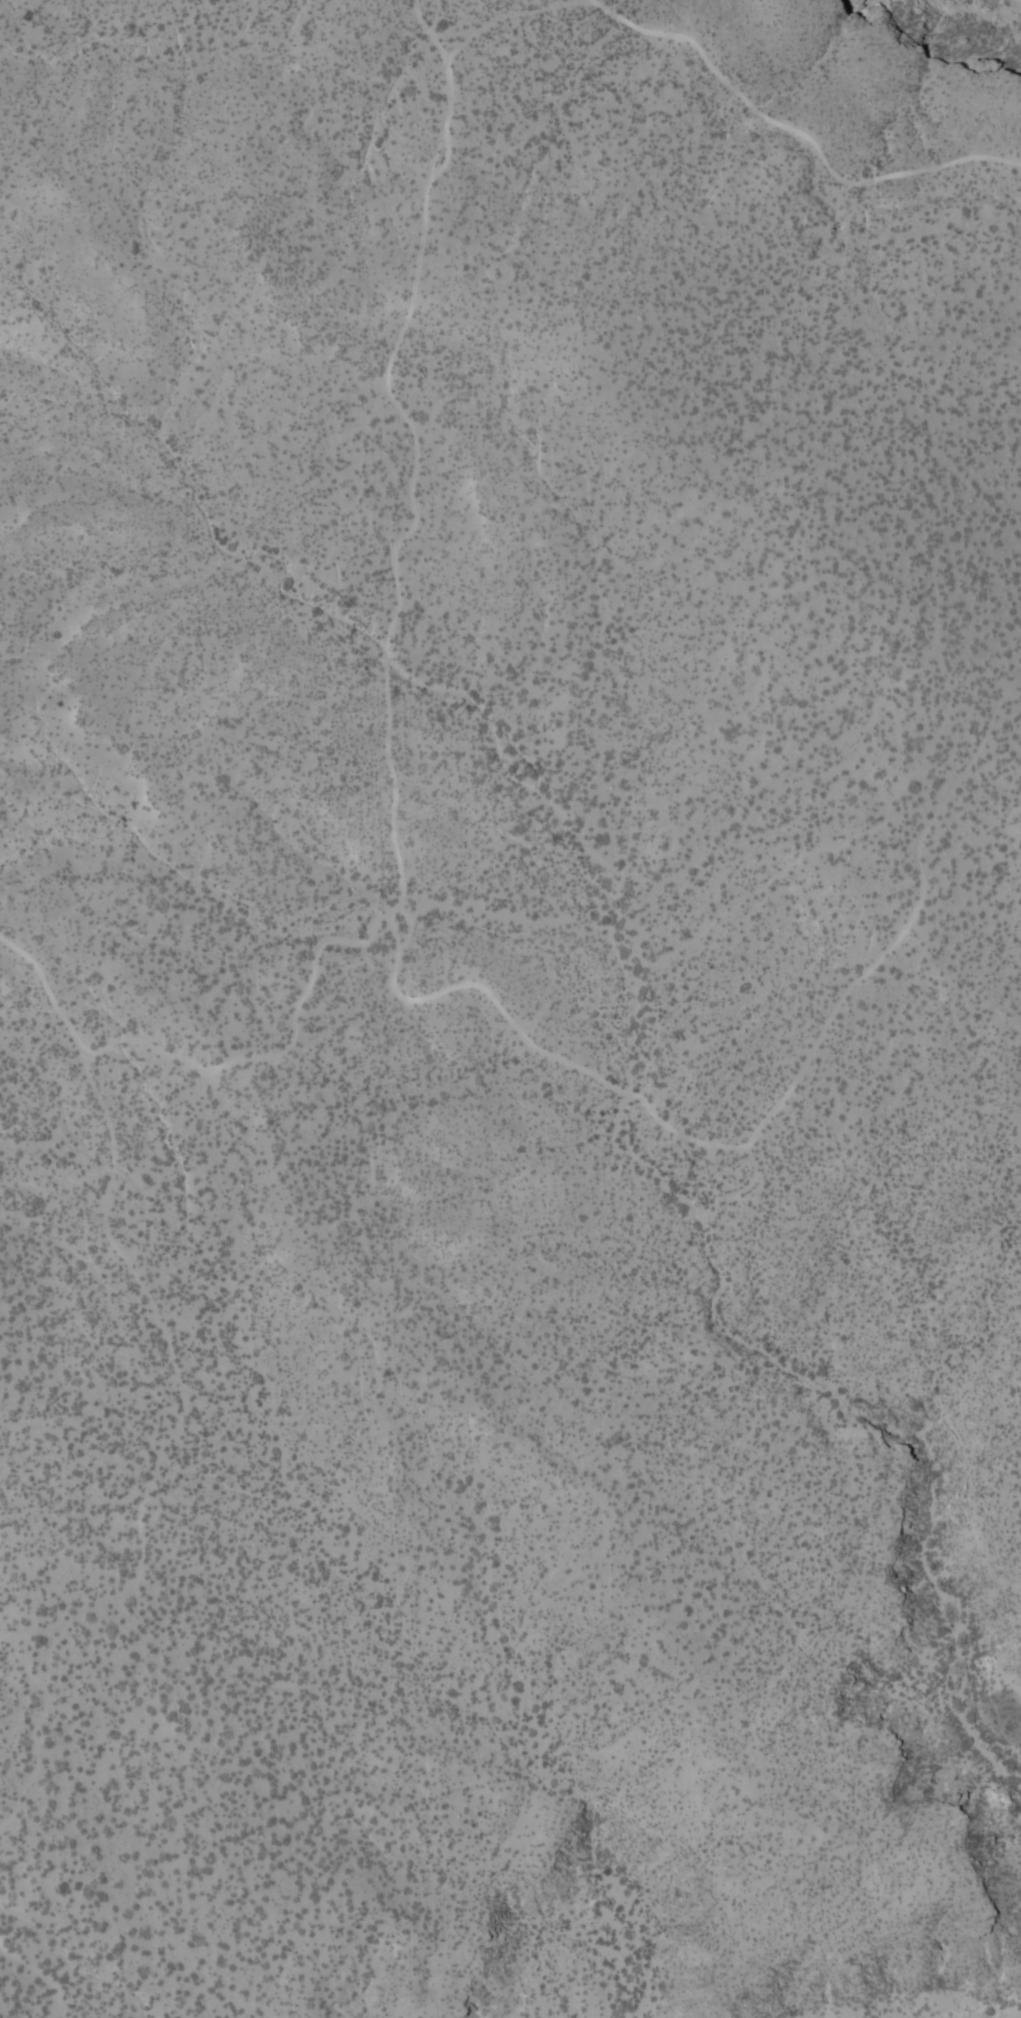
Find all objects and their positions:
road: (505, 14)
road: (795, 131)
road: (412, 452)
road: (890, 797)
road: (601, 1077)
road: (161, 1332)
road: (20, 1720)
road: (30, 1768)
road: (41, 1975)

